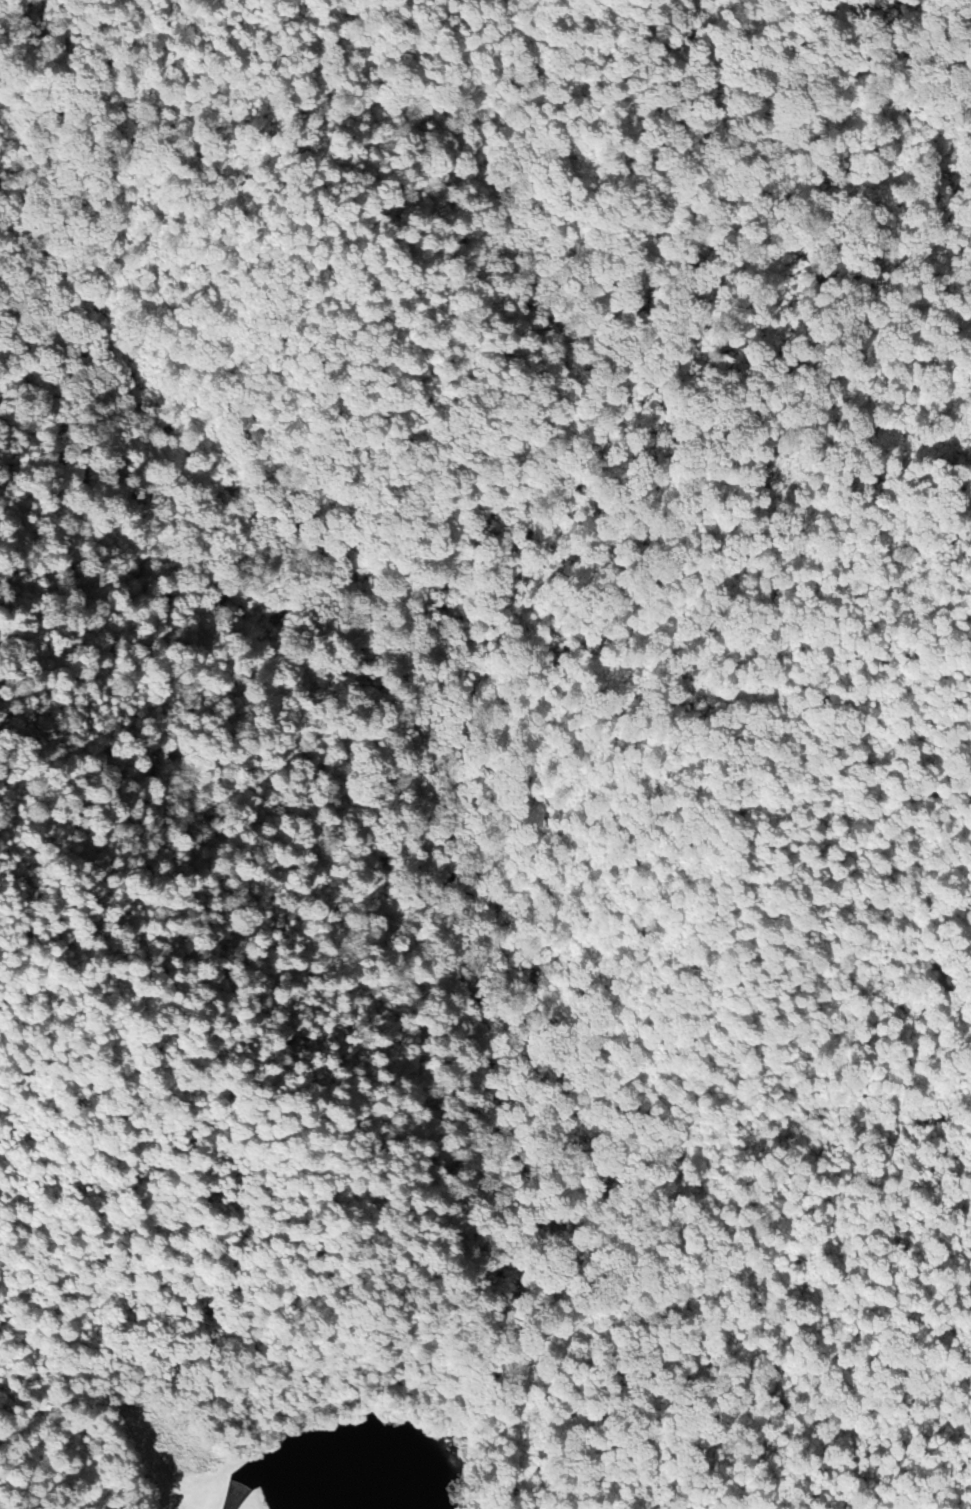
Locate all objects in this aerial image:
dam: (264, 1496)

